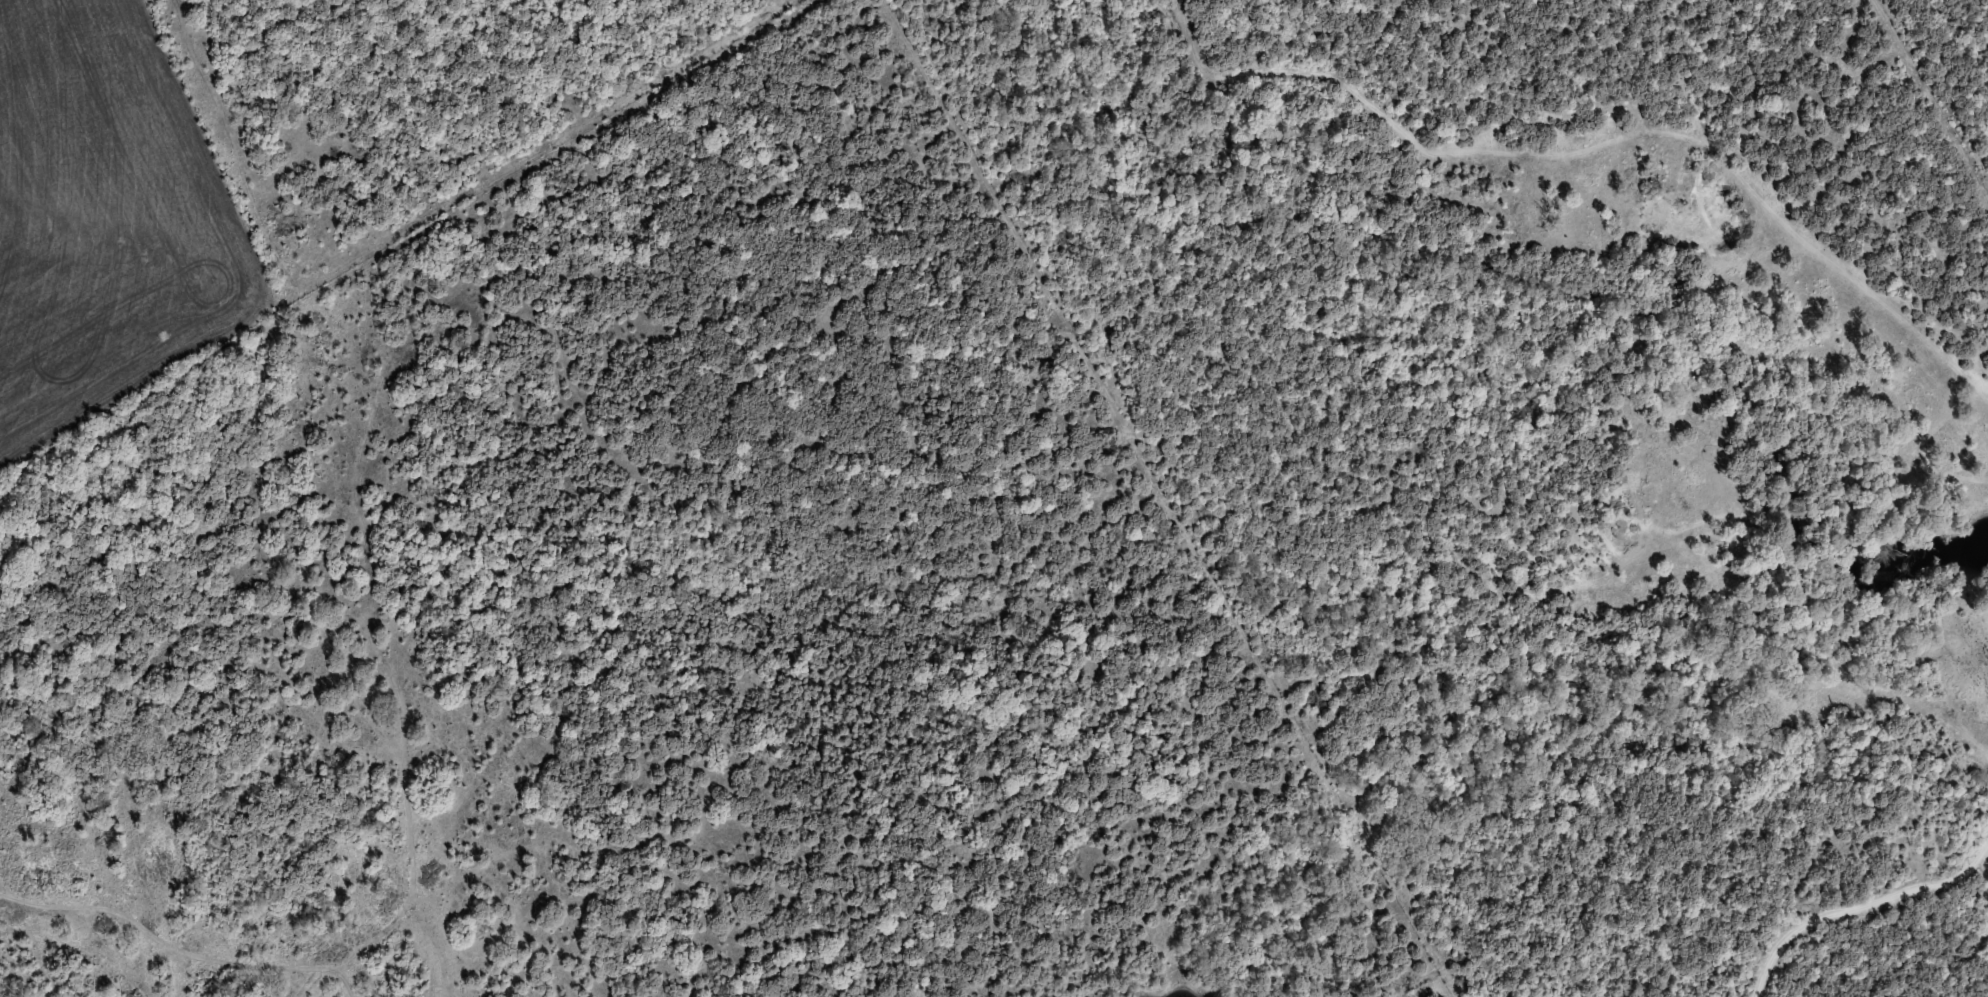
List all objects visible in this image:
road: (1849, 295)

